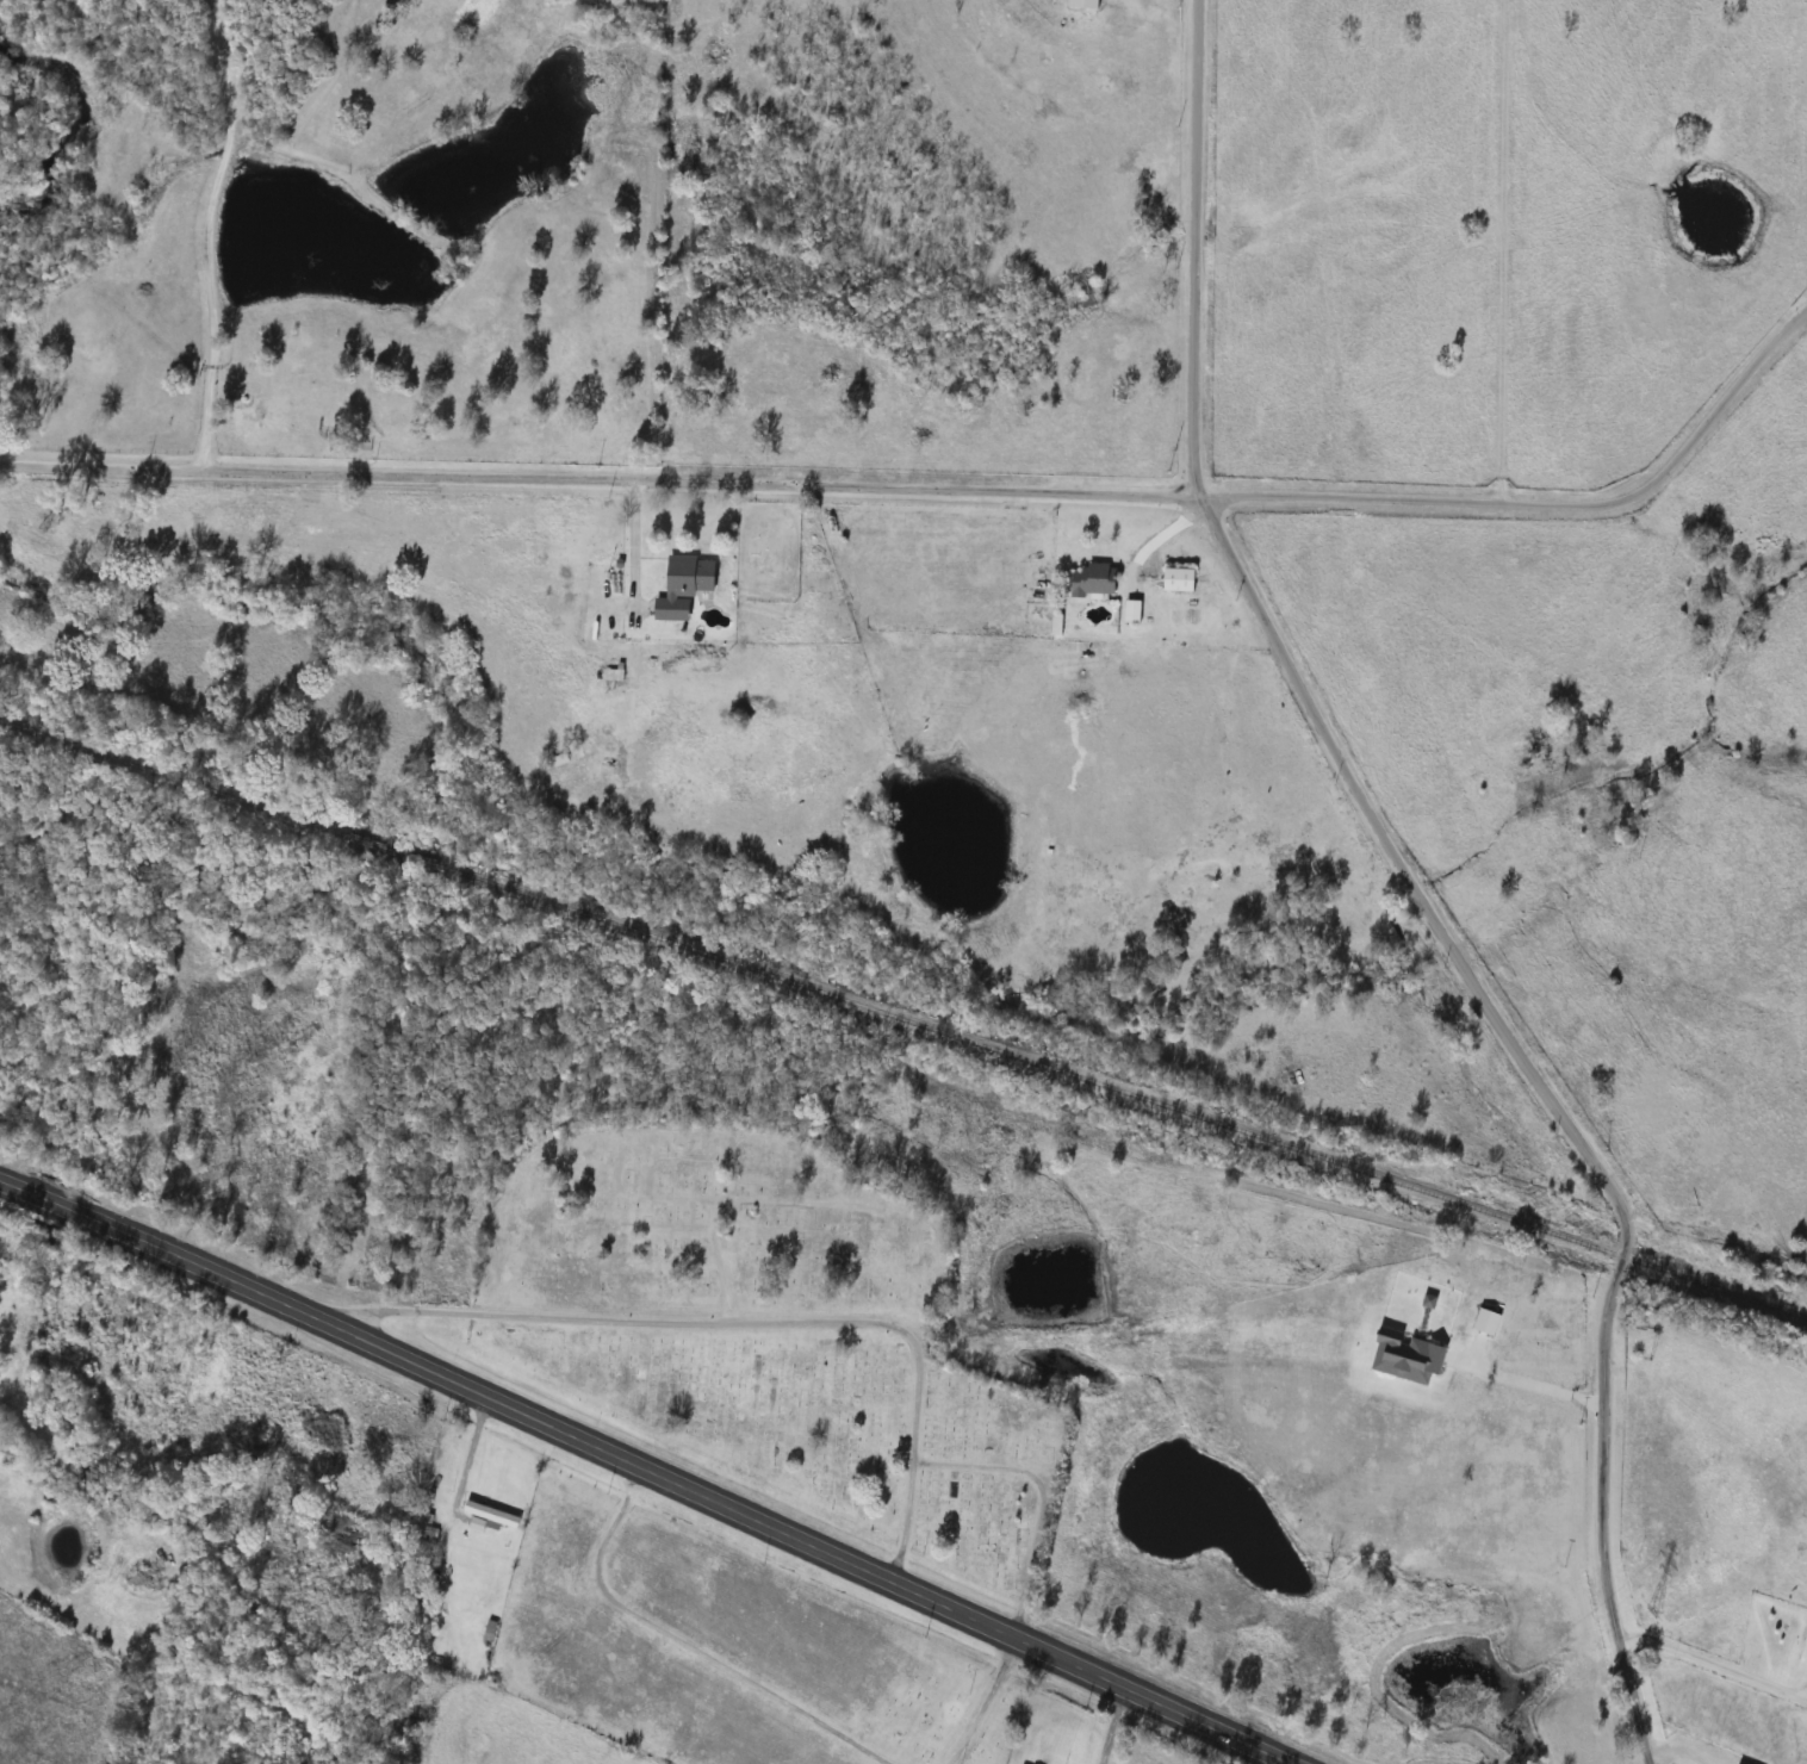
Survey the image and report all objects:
road: (205, 234)
road: (1194, 249)
road: (601, 480)
road: (1545, 507)
road: (635, 551)
building: (1181, 579)
building: (1095, 580)
building: (688, 583)
building: (1135, 611)
railway: (903, 1019)
road: (1546, 1101)
road: (747, 1322)
park: (766, 1328)
road: (1529, 1380)
road: (461, 1449)
road: (642, 1465)
road: (1036, 1497)
building: (491, 1517)
power tower: (1660, 1610)
park: (722, 1651)
road: (1713, 1661)
road: (1109, 1727)

